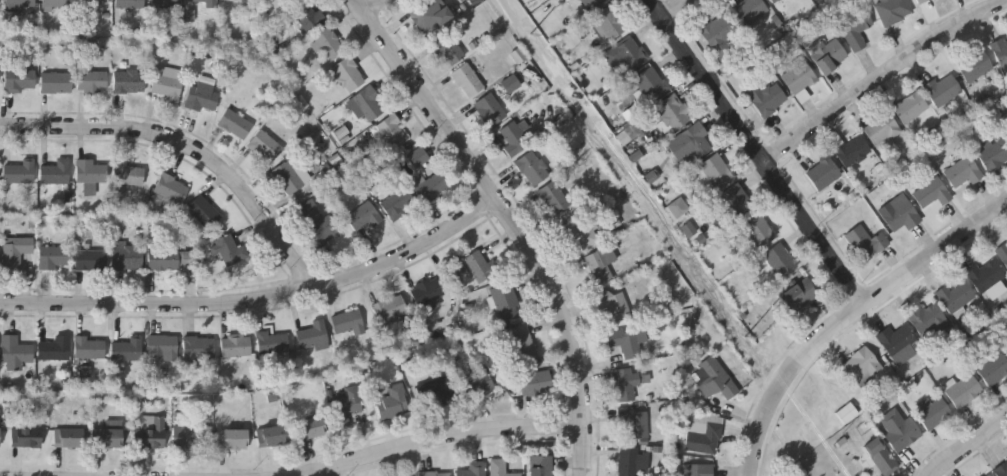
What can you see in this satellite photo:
building: (0, 0)
building: (468, 0)
building: (203, 1)
building: (239, 1)
building: (771, 1)
building: (922, 2)
building: (20, 3)
building: (91, 3)
building: (54, 4)
building: (129, 4)
building: (167, 4)
building: (592, 4)
road: (379, 8)
road: (679, 10)
building: (750, 12)
building: (894, 12)
building: (13, 15)
building: (427, 16)
building: (307, 17)
building: (609, 24)
building: (856, 30)
building: (717, 33)
building: (328, 45)
power tower: (532, 45)
building: (448, 51)
building: (1000, 52)
building: (519, 55)
building: (625, 55)
building: (827, 56)
building: (975, 67)
building: (0, 69)
building: (347, 76)
road: (883, 77)
building: (798, 78)
building: (19, 82)
building: (467, 82)
building: (91, 83)
building: (129, 83)
building: (55, 84)
building: (168, 84)
building: (651, 85)
building: (942, 90)
building: (203, 99)
building: (766, 100)
building: (495, 103)
building: (367, 105)
building: (910, 108)
building: (666, 115)
building: (1006, 120)
building: (235, 124)
building: (881, 130)
building: (390, 133)
building: (513, 139)
building: (691, 141)
road: (190, 147)
building: (264, 147)
road: (759, 150)
building: (852, 152)
building: (994, 154)
building: (417, 158)
building: (532, 169)
building: (18, 173)
building: (715, 173)
building: (963, 173)
building: (55, 174)
building: (822, 174)
building: (128, 175)
building: (89, 176)
building: (653, 176)
building: (287, 178)
building: (431, 188)
building: (171, 190)
building: (931, 194)
building: (553, 198)
building: (736, 203)
building: (398, 204)
building: (677, 208)
building: (306, 209)
building: (203, 212)
building: (364, 217)
building: (902, 217)
road: (513, 220)
building: (322, 230)
building: (759, 230)
building: (577, 236)
building: (866, 241)
building: (230, 251)
building: (15, 252)
building: (1002, 253)
building: (53, 258)
building: (127, 258)
building: (89, 260)
building: (171, 260)
building: (780, 261)
building: (480, 266)
building: (599, 267)
building: (458, 270)
building: (985, 276)
building: (426, 292)
building: (798, 296)
building: (955, 297)
road: (260, 300)
building: (505, 303)
building: (612, 305)
building: (390, 311)
road: (848, 316)
building: (926, 320)
building: (348, 324)
power tower: (738, 335)
building: (312, 337)
building: (895, 341)
building: (625, 343)
building: (272, 344)
building: (520, 344)
building: (162, 347)
building: (235, 347)
building: (88, 349)
building: (54, 350)
building: (198, 350)
building: (126, 351)
building: (14, 354)
building: (862, 367)
building: (993, 369)
building: (85, 371)
building: (714, 380)
building: (534, 384)
building: (477, 385)
building: (625, 385)
building: (435, 389)
building: (963, 392)
building: (393, 405)
building: (347, 407)
building: (847, 414)
building: (933, 414)
building: (632, 425)
building: (899, 431)
building: (152, 432)
building: (312, 432)
building: (704, 434)
building: (0, 436)
building: (270, 437)
building: (26, 438)
building: (192, 438)
building: (68, 439)
building: (106, 439)
building: (232, 440)
road: (441, 440)
road: (969, 446)
building: (881, 458)
building: (631, 462)
building: (540, 466)
building: (499, 468)
building: (1001, 469)
building: (474, 470)
road: (337, 471)
building: (699, 471)
building: (434, 474)
building: (987, 475)
building: (990, 475)

